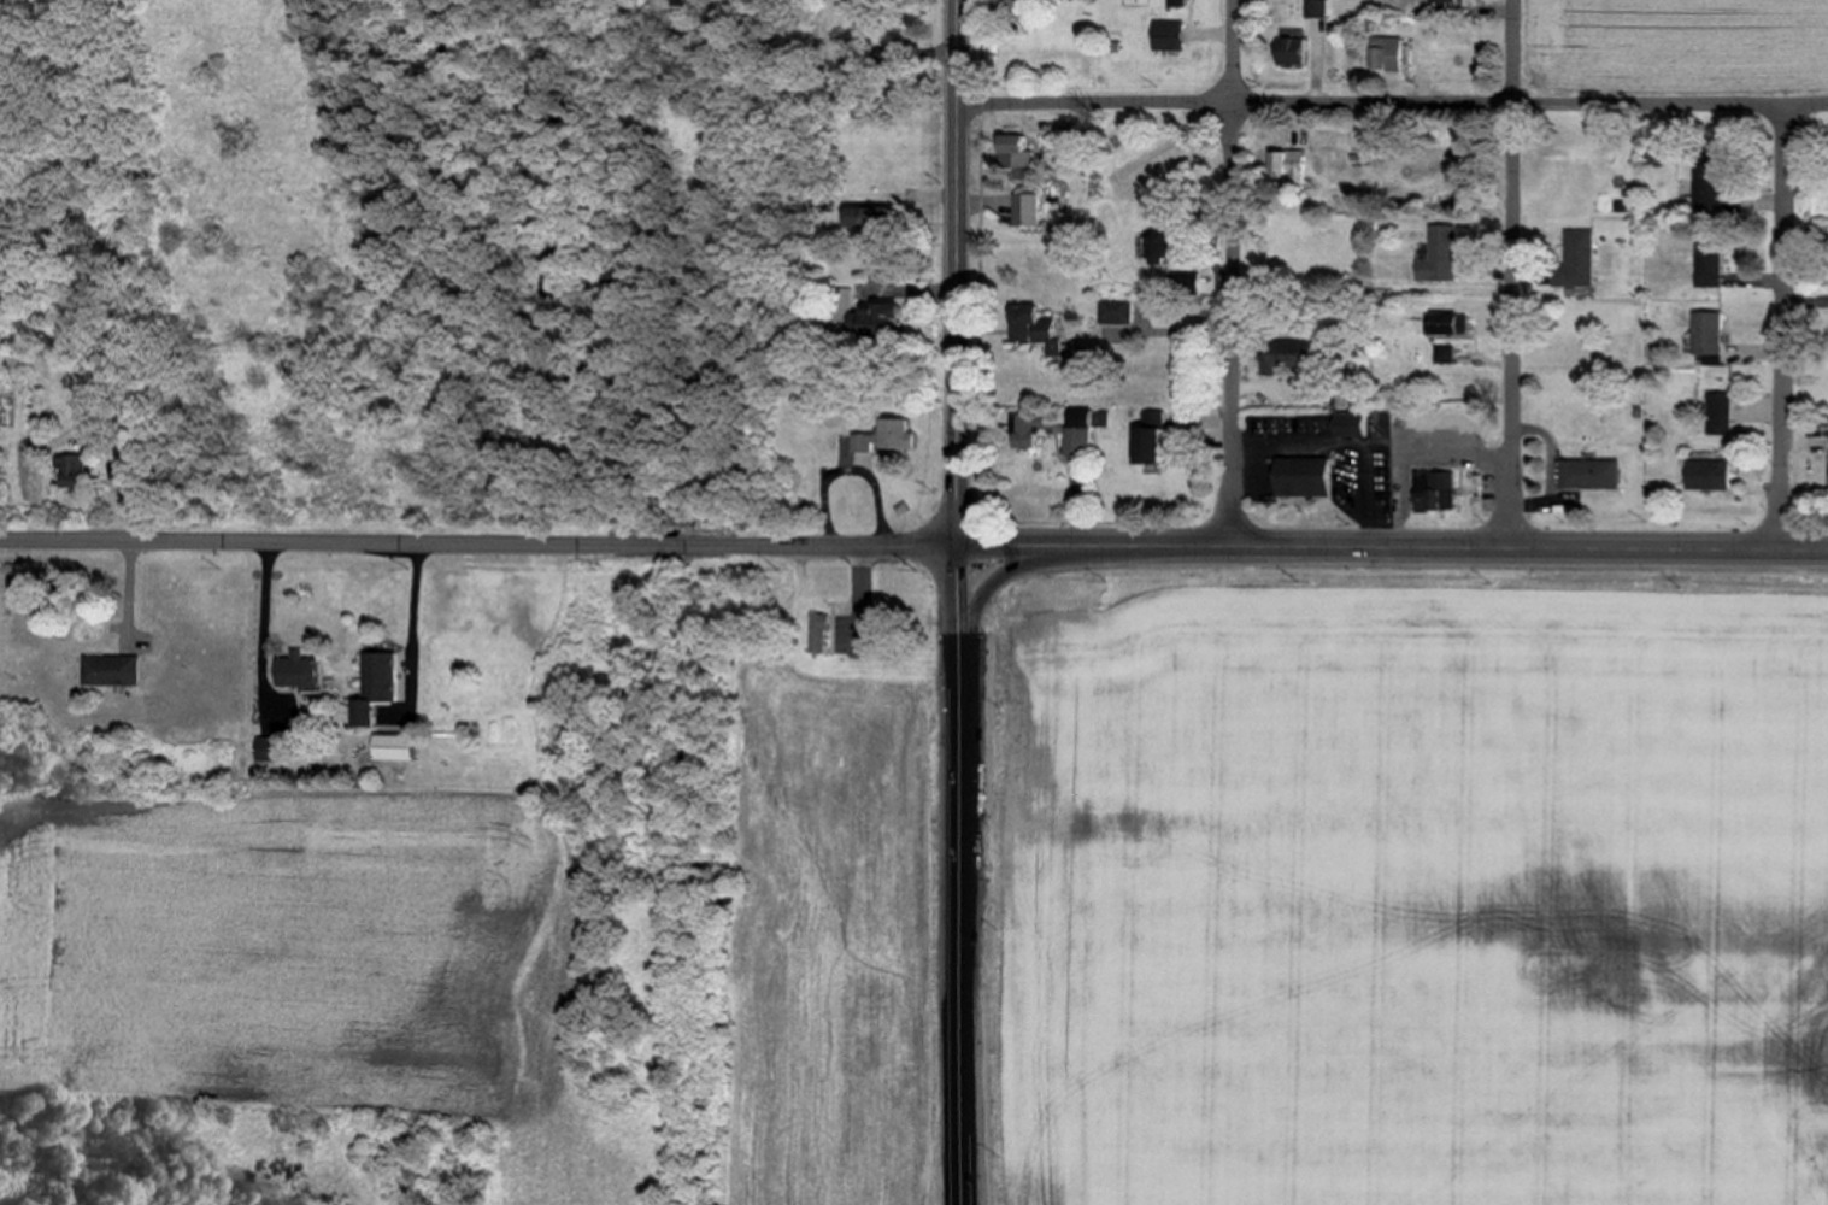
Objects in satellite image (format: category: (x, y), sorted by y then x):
building: (1169, 2)
building: (1006, 4)
building: (1445, 8)
building: (1319, 10)
building: (1391, 55)
road: (1394, 100)
building: (1016, 152)
building: (1291, 166)
building: (1709, 193)
building: (1031, 206)
building: (871, 219)
building: (1442, 257)
building: (1579, 260)
building: (1711, 264)
road: (962, 272)
road: (1235, 272)
road: (1513, 272)
building: (1117, 312)
building: (883, 318)
building: (1447, 324)
road: (1791, 325)
building: (1036, 328)
building: (1709, 333)
building: (1288, 357)
building: (1718, 410)
building: (1030, 428)
building: (891, 437)
building: (1080, 443)
building: (1150, 447)
building: (76, 471)
building: (1591, 474)
building: (1710, 475)
building: (1304, 477)
building: (1436, 492)
road: (482, 543)
road: (1395, 546)
road: (864, 601)
road: (269, 613)
road: (417, 613)
parking lot: (848, 634)
building: (821, 635)
building: (113, 671)
building: (300, 671)
building: (377, 688)
building: (395, 748)
road: (960, 875)

